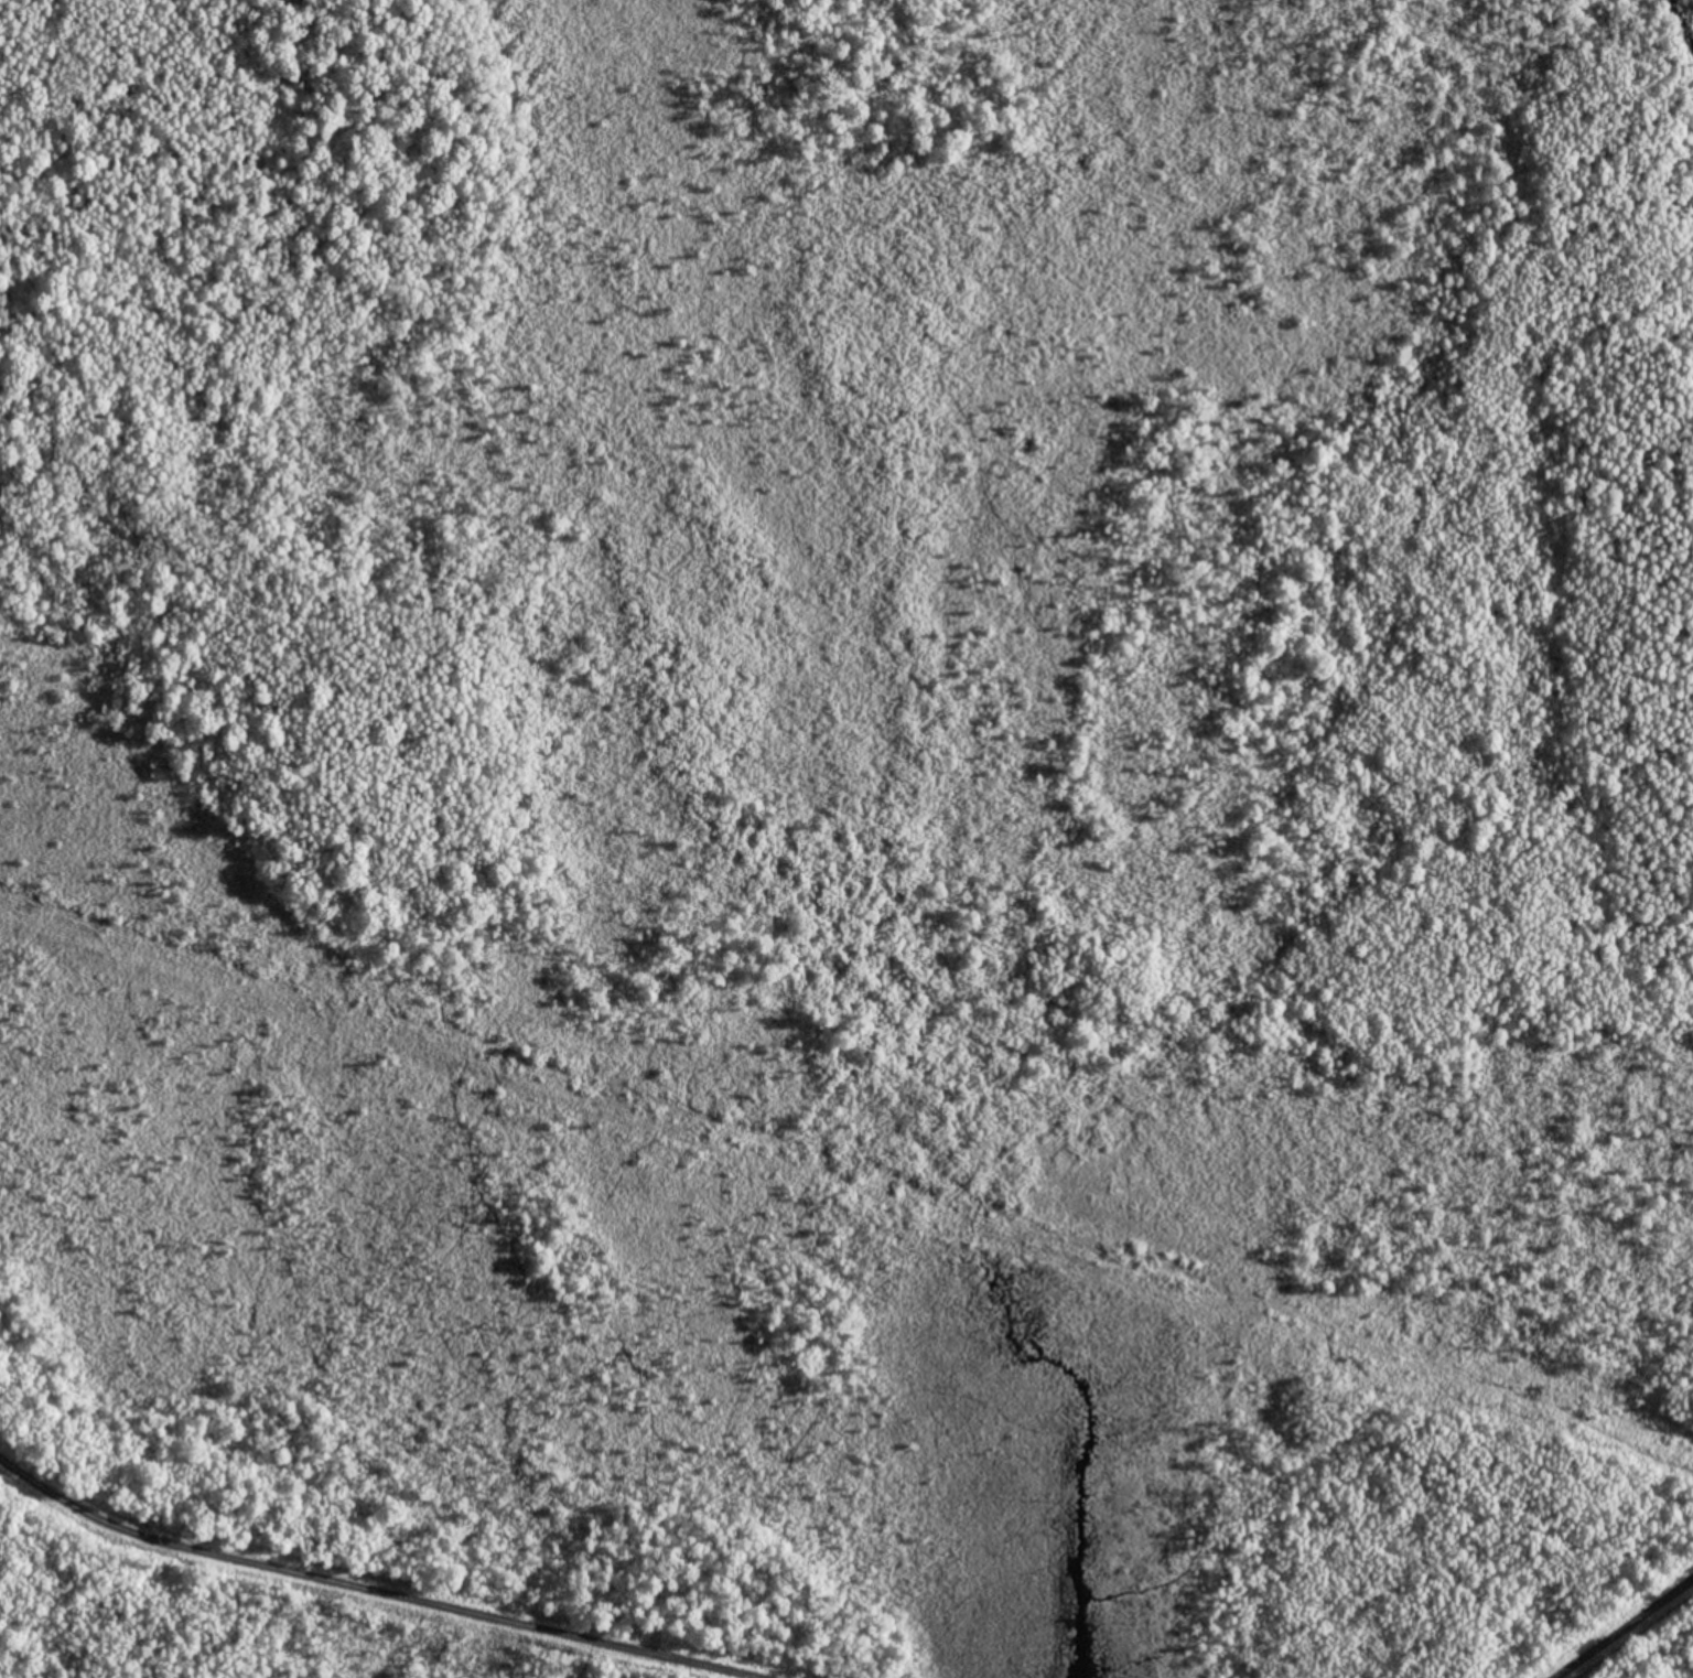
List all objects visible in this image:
road: (357, 1592)
road: (1626, 1631)

